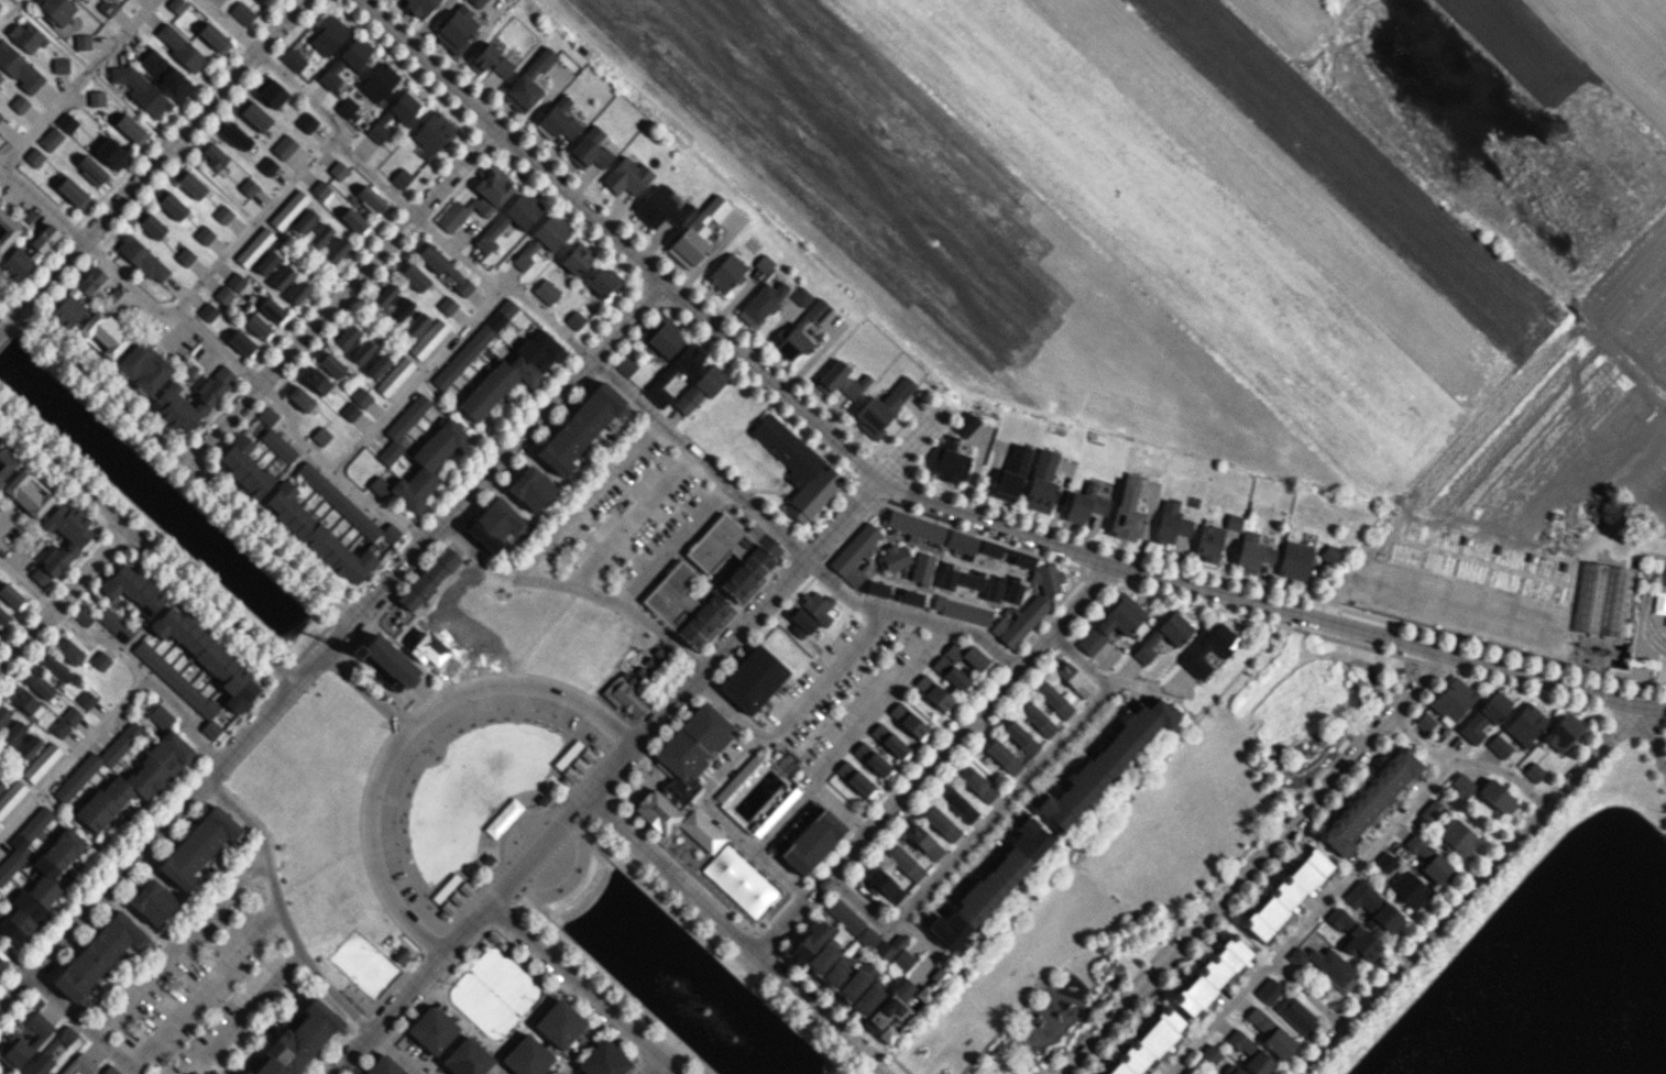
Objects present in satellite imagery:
building: (476, 2)
building: (175, 4)
building: (107, 6)
building: (418, 7)
building: (55, 9)
building: (241, 12)
road: (227, 24)
building: (457, 29)
building: (327, 34)
building: (24, 35)
building: (212, 37)
building: (81, 42)
building: (178, 47)
building: (292, 59)
building: (490, 61)
building: (346, 62)
building: (59, 66)
building: (18, 69)
building: (164, 74)
building: (0, 77)
building: (0, 78)
road: (75, 80)
building: (377, 81)
building: (528, 83)
building: (139, 89)
building: (273, 96)
building: (95, 98)
building: (19, 103)
building: (346, 107)
building: (394, 114)
building: (0, 116)
building: (255, 117)
building: (557, 120)
building: (66, 122)
building: (306, 122)
building: (129, 129)
building: (432, 132)
building: (50, 139)
building: (237, 139)
building: (283, 146)
building: (589, 150)
building: (109, 153)
road: (158, 155)
building: (212, 156)
building: (33, 157)
building: (266, 165)
building: (337, 169)
building: (89, 171)
building: (626, 176)
building: (401, 177)
building: (190, 185)
building: (246, 186)
building: (319, 189)
building: (490, 190)
building: (70, 193)
building: (369, 200)
road: (42, 201)
building: (172, 206)
building: (660, 207)
building: (288, 210)
road: (412, 212)
building: (222, 213)
building: (451, 216)
building: (508, 220)
building: (353, 221)
building: (303, 222)
building: (151, 226)
road: (249, 227)
building: (7, 231)
building: (202, 234)
building: (697, 234)
building: (319, 237)
building: (541, 240)
building: (254, 248)
building: (335, 250)
building: (28, 254)
building: (184, 255)
building: (141, 257)
building: (576, 257)
building: (763, 263)
building: (275, 267)
building: (441, 267)
building: (726, 273)
building: (413, 276)
building: (234, 282)
building: (602, 282)
building: (298, 291)
building: (546, 291)
building: (69, 294)
road: (338, 294)
building: (223, 295)
building: (801, 296)
building: (383, 297)
building: (761, 304)
building: (446, 305)
building: (271, 309)
building: (398, 310)
building: (207, 313)
building: (574, 319)
road: (9, 320)
building: (257, 325)
building: (414, 326)
building: (794, 328)
building: (103, 332)
building: (347, 333)
building: (664, 337)
building: (428, 339)
building: (242, 342)
building: (472, 342)
building: (361, 348)
building: (329, 362)
building: (377, 362)
building: (143, 365)
building: (626, 365)
building: (511, 373)
building: (668, 373)
building: (393, 375)
building: (831, 376)
building: (317, 380)
road: (418, 380)
road: (259, 385)
building: (855, 386)
building: (701, 388)
building: (898, 393)
building: (298, 395)
building: (361, 396)
building: (189, 399)
building: (350, 412)
building: (266, 415)
building: (873, 417)
building: (965, 424)
building: (579, 426)
building: (401, 428)
building: (320, 436)
building: (277, 446)
road: (697, 454)
road: (174, 456)
building: (4, 461)
building: (950, 462)
building: (243, 467)
building: (798, 467)
building: (421, 468)
building: (1011, 473)
building: (1040, 482)
building: (530, 489)
building: (28, 491)
road: (917, 493)
road: (589, 498)
building: (1084, 503)
building: (344, 505)
building: (1126, 509)
road: (627, 516)
building: (494, 522)
building: (1232, 522)
building: (1170, 523)
building: (914, 526)
building: (317, 535)
building: (61, 538)
road: (1634, 539)
building: (961, 541)
building: (1207, 543)
road: (677, 546)
road: (145, 548)
building: (994, 548)
building: (732, 551)
building: (854, 552)
building: (1251, 552)
building: (894, 557)
building: (1022, 560)
building: (1293, 560)
building: (921, 568)
building: (427, 576)
building: (946, 578)
building: (1045, 578)
building: (971, 580)
road: (25, 587)
road: (572, 587)
building: (876, 588)
building: (132, 589)
building: (991, 591)
building: (1012, 592)
building: (11, 595)
road: (63, 598)
building: (911, 598)
building: (1599, 599)
building: (684, 603)
building: (1659, 603)
building: (818, 606)
building: (961, 610)
building: (2, 615)
building: (84, 615)
road: (907, 617)
building: (1018, 621)
building: (800, 623)
building: (1111, 623)
building: (114, 624)
building: (1665, 624)
road: (341, 625)
building: (1164, 633)
building: (67, 650)
building: (1197, 651)
building: (207, 656)
building: (966, 656)
building: (1212, 658)
building: (100, 660)
building: (386, 662)
building: (54, 669)
road: (145, 673)
building: (951, 675)
building: (1071, 678)
building: (753, 679)
building: (634, 683)
building: (39, 684)
road: (1138, 684)
building: (179, 686)
road: (362, 688)
building: (934, 693)
building: (22, 699)
building: (85, 699)
building: (1054, 700)
building: (1451, 700)
road: (1651, 703)
road: (794, 711)
building: (3, 713)
building: (70, 715)
building: (160, 716)
building: (1483, 716)
building: (1037, 719)
building: (909, 721)
building: (1424, 722)
building: (1525, 724)
building: (59, 727)
road: (848, 727)
road: (402, 728)
building: (1561, 732)
building: (11, 734)
road: (1651, 734)
building: (1018, 736)
building: (890, 742)
road: (1417, 742)
road: (632, 744)
building: (1499, 746)
building: (26, 747)
building: (690, 750)
road: (74, 754)
building: (1002, 756)
road: (931, 759)
building: (97, 760)
building: (873, 760)
building: (41, 761)
building: (1104, 763)
building: (1533, 771)
building: (856, 779)
building: (135, 780)
building: (1, 781)
building: (975, 782)
building: (1461, 785)
building: (757, 793)
park: (476, 794)
building: (1494, 794)
building: (11, 796)
building: (1369, 800)
road: (999, 803)
building: (958, 804)
building: (657, 812)
road: (783, 817)
building: (503, 818)
road: (722, 820)
building: (941, 823)
building: (701, 831)
building: (1457, 837)
building: (22, 841)
building: (812, 841)
building: (922, 841)
building: (196, 846)
park: (1153, 856)
building: (1427, 859)
building: (903, 862)
building: (1385, 862)
road: (1254, 864)
road: (1342, 879)
building: (738, 880)
building: (883, 883)
building: (990, 885)
building: (40, 886)
road: (1467, 888)
building: (1407, 889)
building: (1285, 894)
building: (151, 902)
road: (280, 908)
building: (1373, 908)
building: (845, 917)
building: (1355, 935)
road: (734, 936)
building: (868, 938)
road: (178, 940)
building: (809, 942)
building: (887, 950)
building: (97, 956)
building: (822, 956)
road: (13, 960)
building: (902, 960)
building: (1, 965)
building: (1326, 966)
building: (836, 971)
building: (1210, 975)
road: (572, 983)
building: (852, 985)
building: (932, 985)
road: (204, 986)
road: (13, 988)
building: (903, 988)
building: (1269, 990)
road: (1305, 995)
building: (866, 998)
road: (245, 1016)
building: (1296, 1016)
building: (884, 1019)
road: (81, 1023)
building: (559, 1023)
building: (431, 1029)
building: (1269, 1031)
building: (66, 1034)
building: (297, 1040)
building: (23, 1042)
building: (1148, 1043)
building: (1239, 1049)
road: (394, 1052)
building: (1209, 1054)
building: (526, 1056)
building: (467, 1057)
building: (602, 1061)
building: (37, 1064)
building: (79, 1065)
road: (649, 1065)
road: (666, 1065)
building: (383, 1066)
building: (109, 1070)
building: (1235, 1071)
building: (245, 1072)
building: (1185, 1072)

